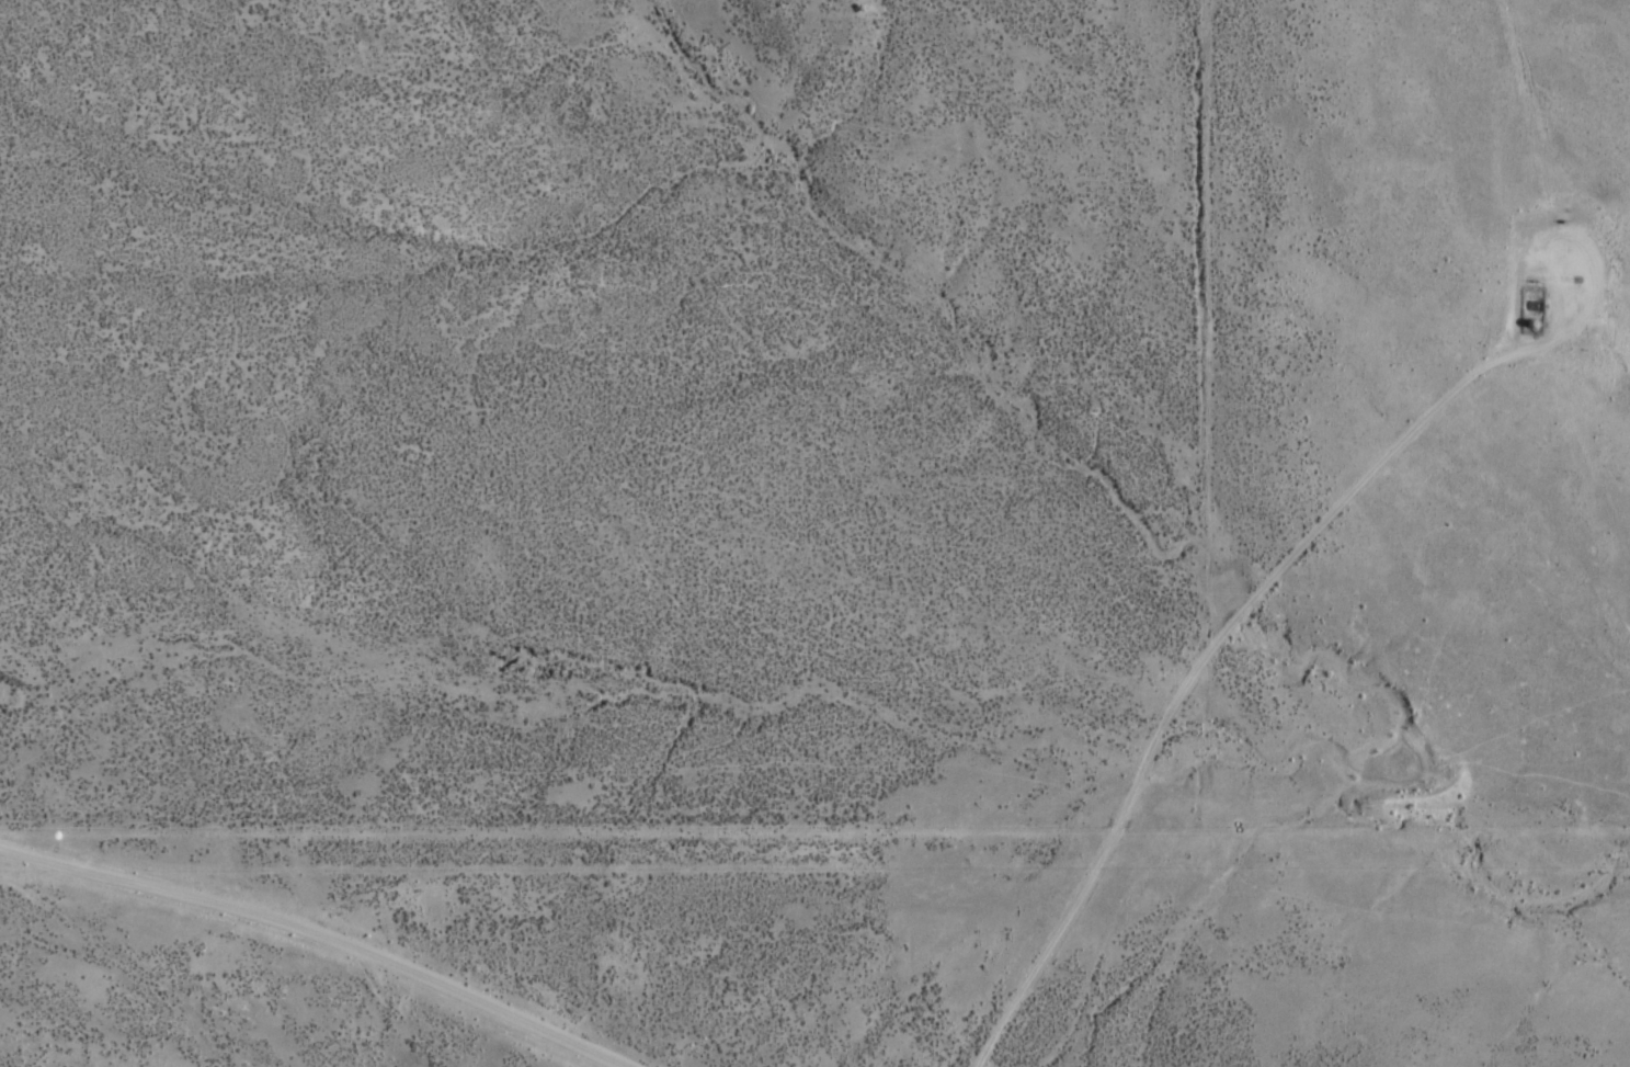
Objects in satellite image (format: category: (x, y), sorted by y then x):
road: (329, 935)

